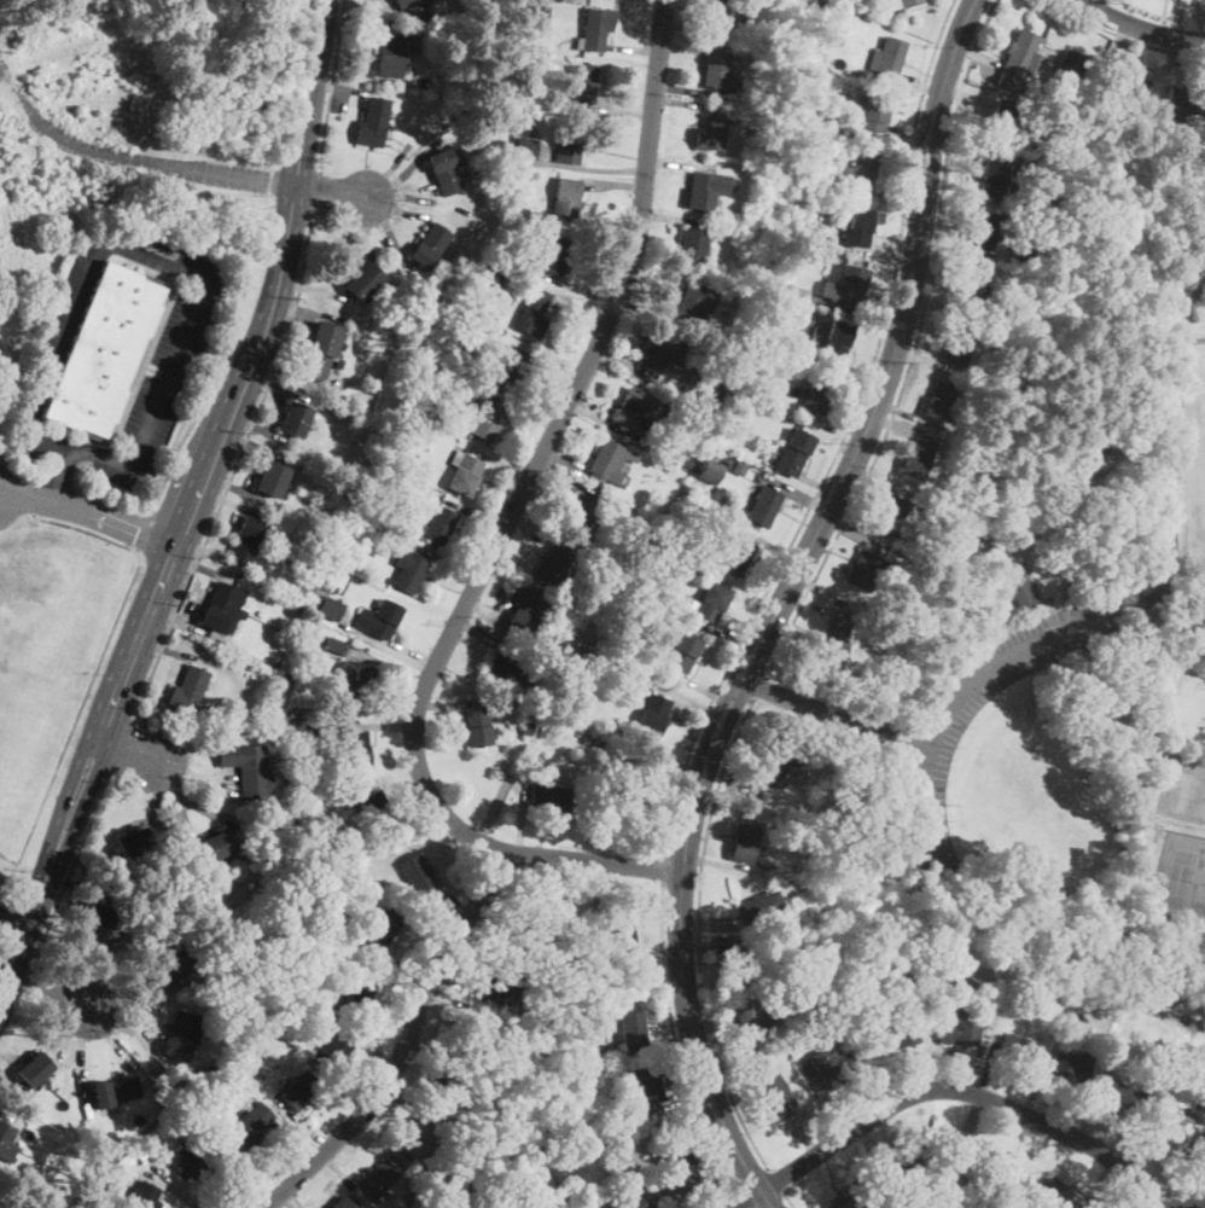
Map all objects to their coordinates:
building: (844, 0)
building: (403, 2)
building: (425, 2)
building: (909, 2)
building: (815, 5)
building: (726, 12)
building: (539, 13)
building: (425, 17)
road: (1177, 18)
road: (1194, 19)
road: (1140, 27)
building: (595, 29)
road: (691, 29)
road: (1122, 36)
road: (634, 48)
road: (1111, 52)
building: (389, 53)
road: (977, 53)
building: (891, 56)
building: (1023, 59)
building: (1069, 64)
road: (1093, 66)
building: (1044, 69)
building: (717, 71)
road: (354, 74)
road: (910, 83)
building: (1127, 83)
road: (332, 85)
building: (582, 86)
road: (337, 87)
building: (768, 87)
road: (685, 89)
road: (966, 97)
road: (342, 99)
building: (996, 101)
road: (687, 103)
building: (1183, 104)
road: (622, 114)
building: (875, 114)
building: (518, 118)
building: (1003, 120)
building: (372, 122)
building: (517, 127)
building: (757, 129)
building: (711, 133)
road: (912, 134)
building: (497, 143)
building: (569, 145)
building: (526, 149)
road: (979, 155)
road: (130, 158)
road: (680, 163)
road: (388, 169)
road: (587, 169)
building: (862, 169)
building: (446, 170)
building: (514, 170)
road: (403, 174)
building: (1043, 175)
building: (994, 179)
road: (613, 184)
road: (315, 187)
road: (330, 187)
building: (706, 188)
road: (890, 192)
building: (565, 197)
road: (404, 198)
building: (1050, 203)
road: (395, 208)
building: (519, 210)
road: (674, 220)
building: (858, 227)
road: (367, 228)
road: (390, 228)
building: (985, 230)
building: (823, 239)
building: (430, 245)
building: (693, 246)
building: (502, 250)
road: (959, 251)
road: (883, 254)
building: (1020, 254)
building: (553, 255)
building: (831, 265)
building: (490, 279)
building: (363, 281)
building: (848, 285)
road: (575, 286)
building: (972, 288)
road: (312, 289)
parking lot: (71, 296)
building: (686, 300)
road: (942, 307)
road: (644, 312)
road: (320, 313)
road: (581, 313)
road: (874, 313)
building: (532, 314)
building: (775, 316)
building: (836, 339)
road: (1192, 339)
building: (957, 345)
road: (913, 348)
building: (660, 350)
building: (106, 352)
building: (320, 352)
building: (462, 353)
road: (927, 359)
road: (552, 360)
building: (339, 361)
building: (512, 365)
road: (623, 365)
road: (856, 370)
parking lot: (164, 372)
building: (723, 373)
road: (297, 377)
road: (278, 387)
road: (209, 390)
building: (764, 390)
building: (817, 394)
building: (342, 395)
building: (939, 400)
building: (709, 403)
building: (634, 407)
building: (333, 408)
road: (274, 411)
road: (532, 412)
building: (739, 412)
road: (912, 416)
building: (977, 417)
building: (485, 418)
building: (295, 419)
road: (599, 420)
road: (836, 424)
road: (260, 429)
road: (909, 430)
parking lot: (29, 435)
road: (842, 439)
road: (1176, 440)
road: (254, 443)
building: (706, 451)
building: (793, 453)
building: (406, 457)
building: (972, 457)
road: (563, 458)
building: (727, 459)
building: (918, 459)
building: (687, 461)
road: (130, 463)
building: (607, 463)
building: (1083, 463)
road: (500, 464)
road: (232, 465)
road: (251, 467)
building: (739, 469)
building: (709, 471)
building: (464, 472)
road: (80, 475)
road: (63, 476)
road: (564, 477)
building: (272, 478)
building: (966, 480)
road: (877, 482)
road: (817, 483)
road: (233, 487)
building: (384, 489)
road: (794, 489)
park: (1195, 498)
road: (192, 500)
road: (231, 503)
building: (763, 506)
building: (580, 510)
road: (88, 511)
road: (475, 515)
building: (697, 515)
building: (891, 516)
building: (437, 522)
road: (536, 528)
road: (502, 530)
road: (144, 532)
road: (228, 534)
road: (852, 535)
building: (246, 540)
road: (769, 544)
road: (203, 554)
building: (734, 556)
road: (449, 563)
building: (553, 565)
road: (202, 569)
building: (866, 570)
building: (407, 571)
building: (330, 585)
building: (1020, 591)
road: (822, 593)
road: (1154, 597)
road: (198, 598)
building: (618, 598)
building: (665, 599)
building: (710, 602)
road: (503, 603)
road: (781, 605)
building: (330, 608)
building: (221, 609)
building: (525, 612)
road: (489, 617)
building: (379, 618)
road: (187, 623)
building: (549, 628)
road: (481, 631)
road: (727, 634)
building: (837, 638)
road: (386, 644)
building: (334, 646)
building: (683, 651)
road: (180, 652)
road: (103, 656)
building: (583, 656)
park: (1065, 662)
road: (388, 666)
building: (601, 667)
building: (506, 672)
building: (564, 678)
building: (354, 679)
road: (700, 686)
road: (757, 686)
building: (187, 691)
road: (961, 692)
road: (689, 701)
road: (1149, 701)
road: (447, 703)
building: (653, 714)
road: (833, 714)
building: (302, 722)
road: (368, 725)
building: (477, 727)
building: (526, 732)
parking lot: (935, 733)
building: (805, 738)
building: (599, 742)
road: (129, 748)
building: (356, 750)
building: (772, 767)
building: (248, 768)
road: (671, 774)
road: (197, 777)
building: (622, 777)
road: (382, 782)
park: (1183, 791)
road: (155, 796)
road: (726, 796)
building: (549, 798)
building: (304, 800)
road: (180, 803)
road: (203, 809)
building: (373, 811)
road: (522, 819)
building: (361, 829)
building: (348, 834)
building: (324, 841)
building: (135, 842)
building: (744, 842)
building: (217, 847)
building: (797, 847)
road: (729, 866)
road: (663, 867)
building: (794, 867)
building: (415, 873)
park: (1178, 878)
building: (371, 884)
road: (72, 888)
building: (1098, 904)
road: (449, 906)
building: (761, 908)
road: (12, 920)
road: (709, 925)
building: (98, 927)
building: (532, 933)
building: (619, 933)
building: (379, 934)
building: (327, 935)
road: (699, 935)
road: (499, 941)
road: (703, 947)
road: (648, 951)
building: (745, 960)
building: (165, 964)
building: (289, 968)
road: (402, 971)
building: (552, 971)
building: (611, 974)
road: (94, 982)
building: (500, 983)
road: (133, 987)
road: (396, 987)
road: (459, 988)
road: (45, 989)
building: (354, 994)
road: (139, 1001)
road: (452, 1003)
building: (1056, 1004)
building: (865, 1006)
building: (535, 1007)
building: (822, 1009)
building: (809, 1010)
building: (1012, 1014)
building: (291, 1015)
building: (747, 1015)
building: (984, 1020)
building: (1075, 1022)
road: (126, 1028)
building: (631, 1029)
road: (69, 1030)
building: (956, 1032)
building: (181, 1033)
building: (473, 1035)
building: (895, 1035)
road: (111, 1038)
road: (673, 1041)
road: (404, 1044)
road: (663, 1045)
building: (334, 1047)
road: (735, 1047)
road: (80, 1049)
building: (1019, 1050)
road: (379, 1052)
road: (429, 1053)
road: (5, 1055)
building: (235, 1056)
road: (960, 1056)
road: (879, 1061)
road: (990, 1063)
building: (767, 1065)
building: (33, 1067)
building: (832, 1067)
building: (1072, 1068)
building: (1107, 1068)
road: (1042, 1071)
building: (198, 1074)
building: (490, 1075)
road: (12, 1079)
building: (500, 1079)
building: (255, 1080)
building: (648, 1086)
building: (448, 1087)
road: (942, 1088)
building: (118, 1090)
building: (298, 1091)
building: (774, 1096)
building: (1122, 1096)
building: (197, 1098)
road: (826, 1098)
road: (674, 1103)
road: (404, 1104)
building: (190, 1105)
road: (1090, 1108)
road: (1, 1113)
building: (170, 1120)
road: (974, 1120)
building: (1198, 1120)
road: (301, 1122)
building: (1174, 1123)
building: (251, 1125)
road: (791, 1129)
road: (804, 1136)
building: (417, 1138)
building: (1204, 1138)
building: (466, 1139)
building: (6, 1143)
road: (292, 1143)
road: (868, 1145)
building: (142, 1152)
building: (572, 1152)
building: (194, 1157)
building: (976, 1160)
road: (1149, 1162)
building: (906, 1165)
building: (680, 1166)
road: (336, 1168)
road: (249, 1172)
building: (406, 1180)
road: (776, 1180)
building: (374, 1183)
building: (654, 1184)
road: (1098, 1185)
road: (173, 1186)
building: (1013, 1194)
building: (1055, 1195)
building: (145, 1196)
road: (673, 1197)
road: (745, 1197)
road: (290, 1200)
building: (851, 1200)
road: (651, 1201)
road: (788, 1201)
building: (630, 1202)
building: (339, 1203)
building: (39, 1207)

